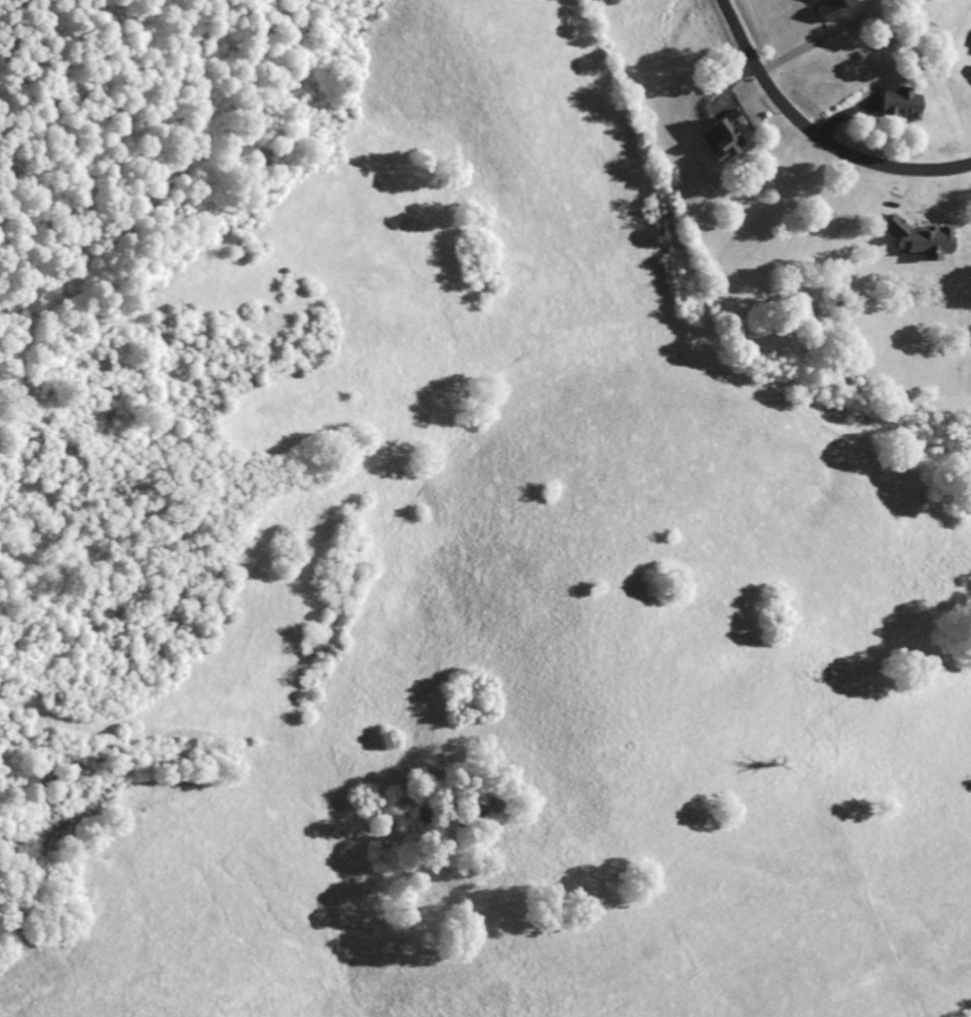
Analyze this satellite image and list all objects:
building: (824, 10)
building: (969, 76)
building: (892, 105)
building: (722, 130)
road: (815, 134)

